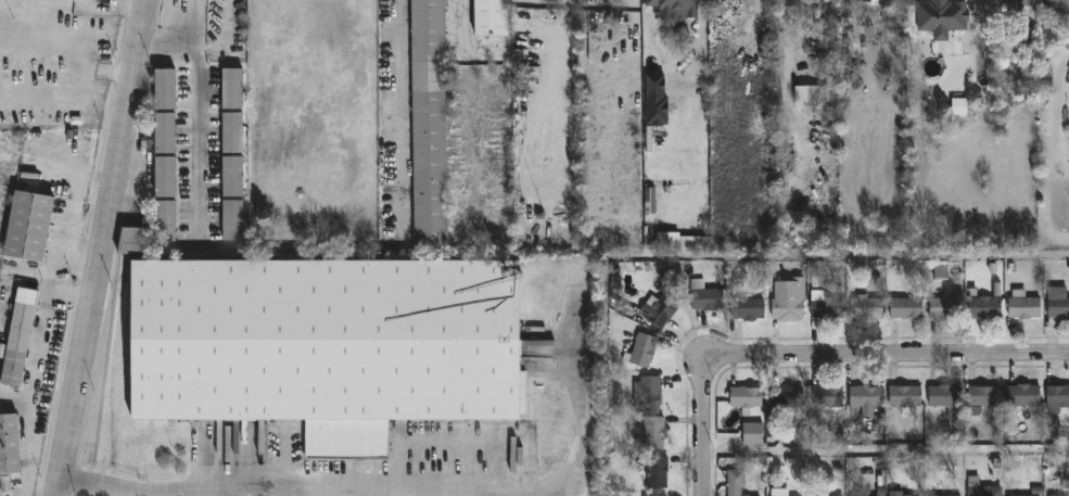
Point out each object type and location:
building: (877, 1)
road: (569, 5)
building: (1019, 7)
building: (676, 8)
road: (467, 9)
building: (1060, 11)
building: (491, 17)
building: (951, 24)
building: (656, 87)
building: (165, 89)
building: (231, 89)
building: (812, 96)
road: (567, 98)
road: (200, 104)
building: (958, 106)
road: (403, 118)
building: (429, 125)
building: (164, 132)
building: (231, 132)
building: (165, 177)
building: (232, 177)
building: (165, 220)
building: (232, 220)
building: (29, 227)
building: (133, 241)
building: (693, 243)
road: (104, 247)
building: (940, 272)
building: (705, 296)
building: (789, 301)
building: (1058, 303)
building: (748, 306)
building: (827, 306)
building: (947, 307)
building: (867, 308)
building: (907, 308)
building: (985, 308)
building: (1026, 308)
building: (660, 310)
building: (18, 338)
building: (327, 345)
building: (644, 349)
road: (899, 355)
road: (35, 372)
building: (649, 393)
building: (905, 396)
building: (946, 396)
building: (985, 396)
building: (1023, 396)
building: (1058, 396)
building: (827, 397)
building: (747, 399)
building: (786, 399)
building: (865, 402)
road: (699, 414)
building: (654, 433)
building: (753, 434)
building: (10, 443)
building: (658, 472)
building: (737, 482)
building: (4, 484)
building: (983, 487)
road: (43, 489)
building: (1056, 489)
building: (780, 491)
building: (1019, 491)
road: (225, 493)
building: (900, 493)
building: (813, 495)
building: (833, 495)
building: (851, 495)
building: (862, 495)
building: (942, 495)

